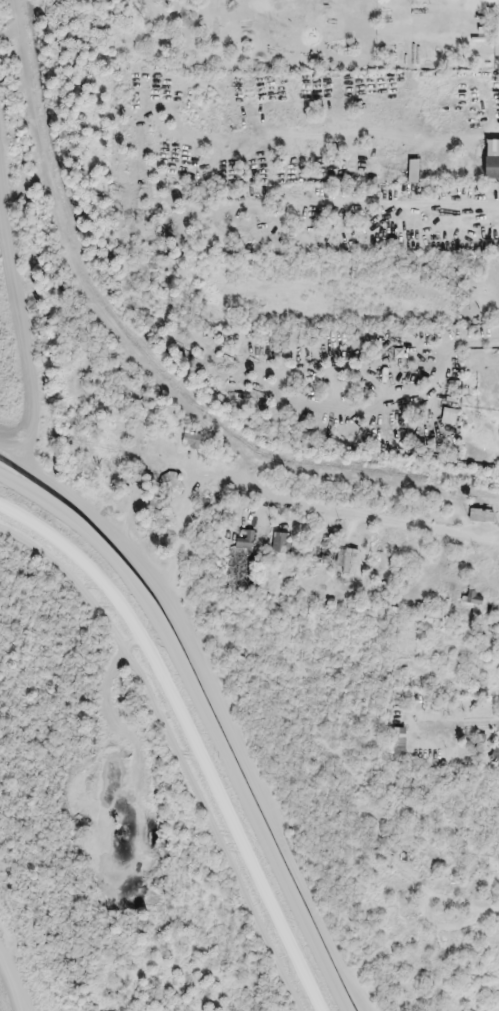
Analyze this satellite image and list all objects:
building: (491, 168)
crop: (27, 332)
building: (191, 439)
building: (481, 515)
building: (281, 543)
building: (349, 562)
building: (476, 599)
road: (186, 739)
building: (495, 753)
building: (400, 891)
crop: (11, 973)

